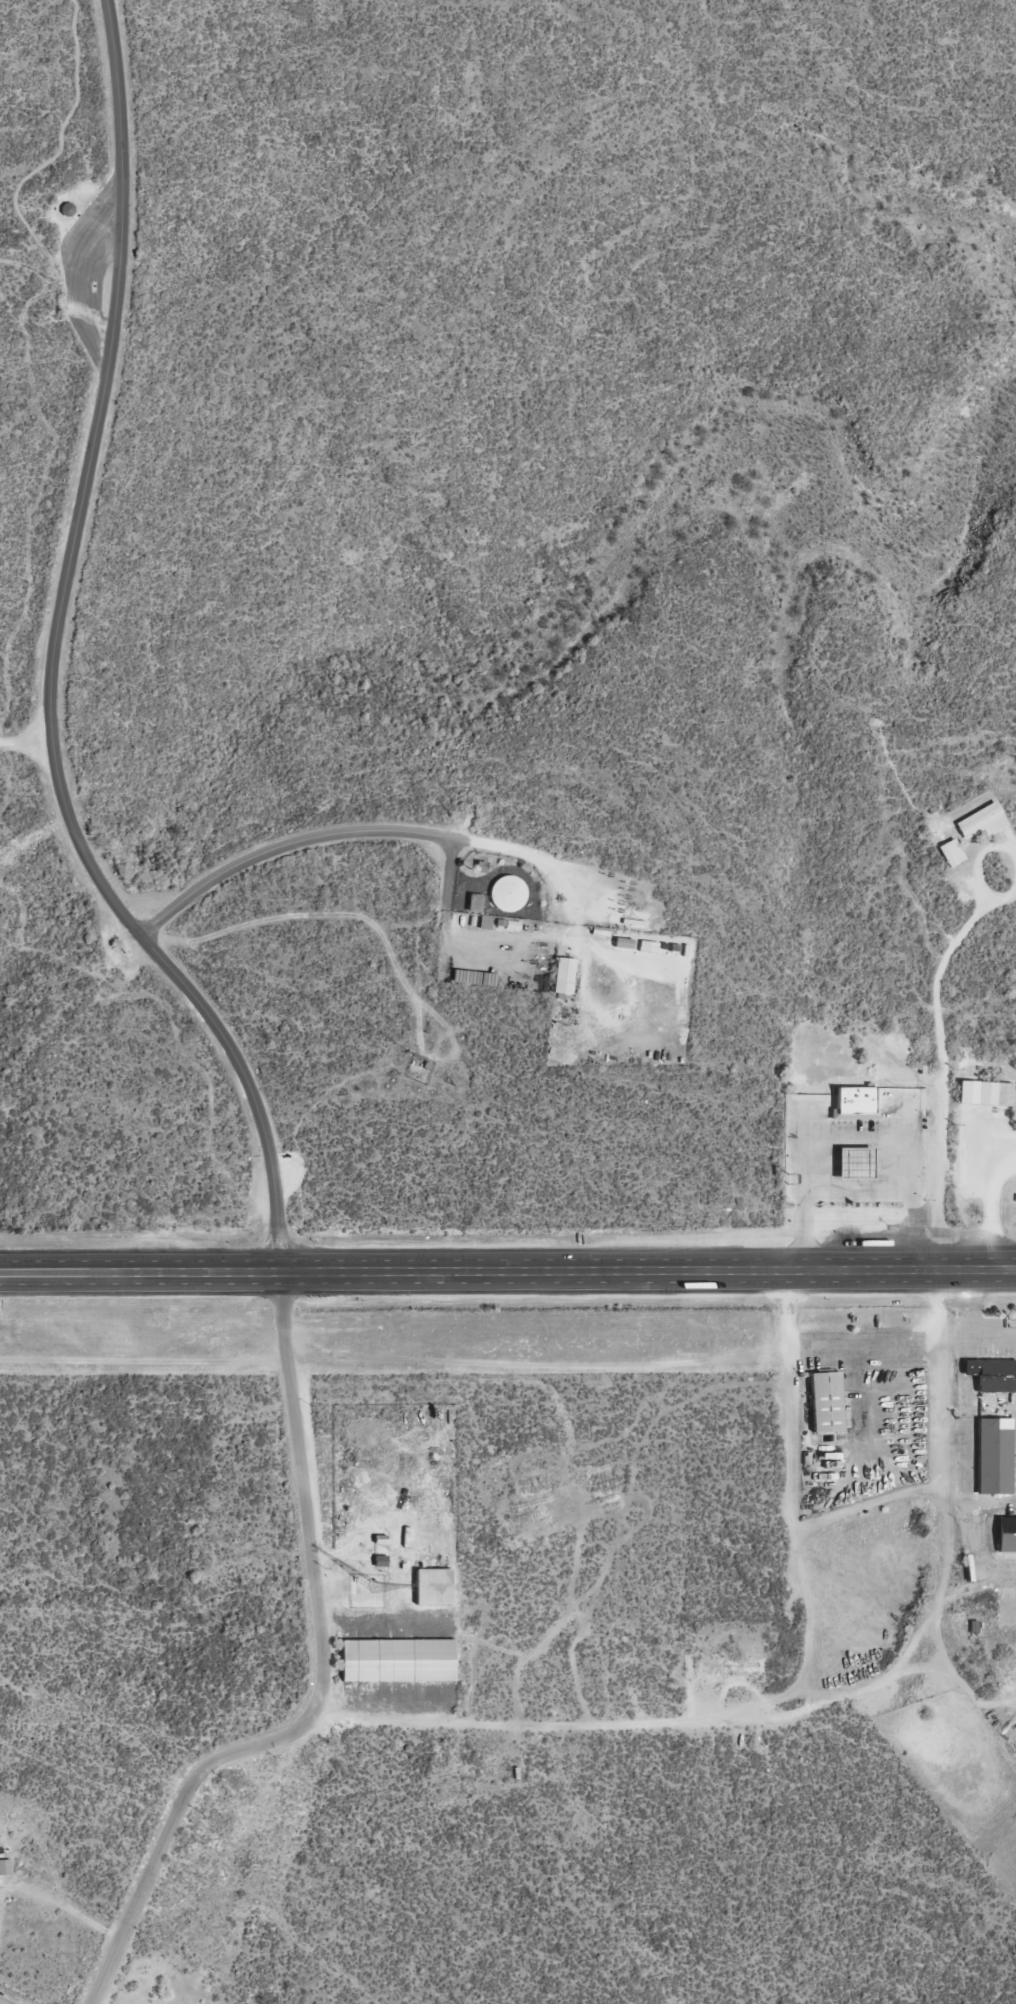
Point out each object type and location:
road: (52, 664)
road: (26, 740)
building: (982, 822)
road: (478, 842)
road: (1005, 849)
building: (951, 853)
building: (507, 895)
road: (982, 895)
building: (474, 904)
building: (626, 922)
road: (446, 935)
building: (562, 976)
building: (985, 1094)
building: (853, 1104)
building: (854, 1164)
road: (507, 1271)
building: (991, 1375)
building: (824, 1402)
building: (993, 1457)
road: (794, 1488)
road: (304, 1494)
road: (980, 1503)
building: (1005, 1534)
road: (946, 1568)
building: (397, 1661)
road: (170, 1827)

